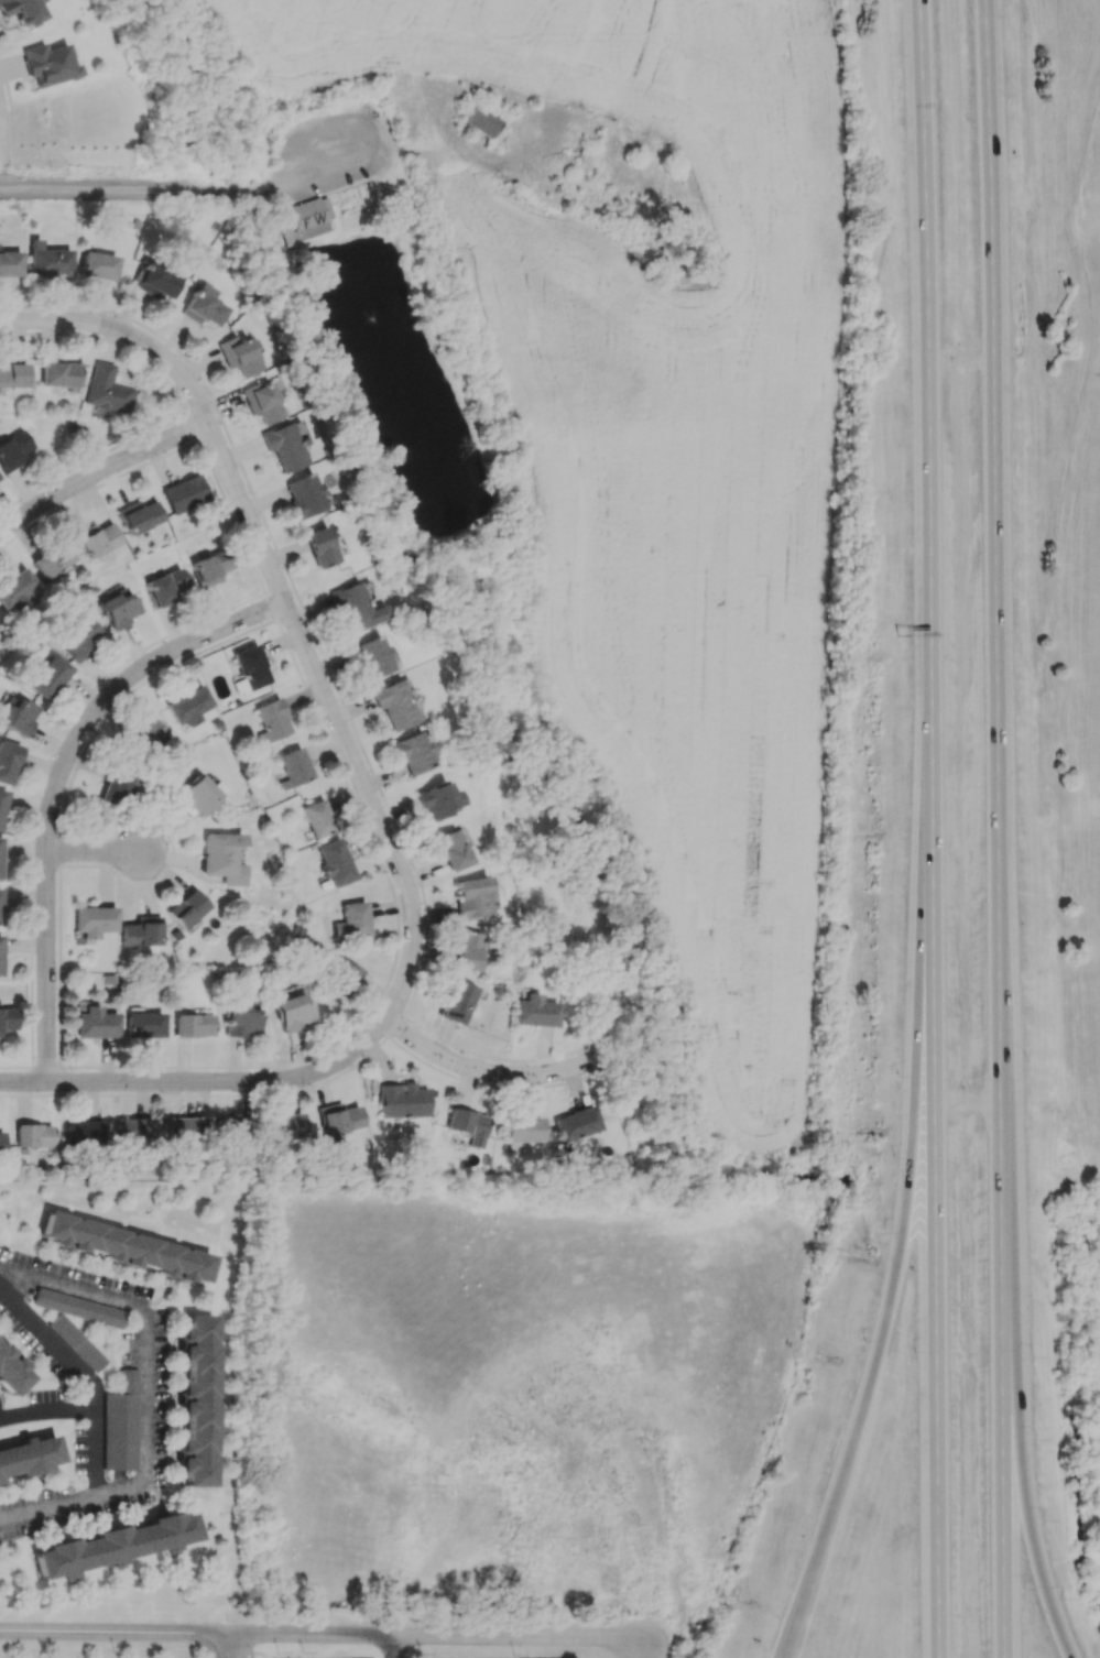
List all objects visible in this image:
building: (21, 10)
building: (48, 64)
building: (481, 118)
road: (199, 199)
building: (303, 220)
building: (47, 260)
building: (10, 264)
building: (97, 265)
building: (155, 281)
building: (203, 306)
road: (39, 324)
building: (238, 354)
road: (960, 358)
building: (59, 373)
building: (13, 375)
building: (107, 391)
building: (262, 402)
building: (284, 446)
building: (13, 450)
road: (101, 476)
building: (185, 493)
building: (305, 495)
building: (139, 515)
road: (929, 521)
building: (96, 538)
building: (320, 547)
building: (53, 559)
building: (209, 568)
building: (165, 587)
building: (17, 590)
building: (118, 608)
building: (356, 608)
building: (0, 614)
building: (79, 639)
road: (303, 640)
building: (374, 655)
building: (250, 667)
building: (48, 677)
building: (394, 703)
building: (189, 706)
building: (18, 716)
building: (271, 720)
building: (148, 733)
building: (414, 752)
building: (8, 760)
building: (293, 767)
road: (57, 782)
building: (116, 788)
building: (196, 796)
building: (438, 799)
building: (2, 806)
building: (317, 818)
road: (1000, 828)
building: (450, 850)
road: (95, 854)
building: (221, 857)
building: (0, 859)
building: (335, 862)
building: (472, 897)
building: (0, 906)
building: (187, 908)
building: (355, 919)
building: (95, 920)
building: (142, 931)
building: (466, 951)
building: (1, 955)
building: (340, 979)
building: (456, 1002)
building: (535, 1010)
building: (292, 1012)
building: (7, 1018)
building: (240, 1018)
building: (95, 1022)
building: (143, 1023)
building: (193, 1023)
road: (479, 1071)
road: (204, 1081)
building: (402, 1100)
road: (966, 1104)
building: (339, 1119)
building: (235, 1120)
building: (577, 1123)
building: (183, 1125)
building: (468, 1125)
building: (286, 1126)
building: (524, 1128)
building: (134, 1130)
building: (83, 1132)
building: (33, 1135)
building: (0, 1143)
building: (124, 1246)
building: (77, 1308)
building: (76, 1342)
road: (149, 1348)
road: (937, 1350)
road: (874, 1355)
building: (11, 1373)
building: (195, 1404)
road: (47, 1411)
road: (97, 1422)
building: (120, 1424)
building: (28, 1457)
road: (1023, 1473)
building: (609, 1536)
building: (113, 1545)
building: (640, 1568)
road: (322, 1634)
road: (242, 1644)
road: (203, 1645)
road: (221, 1645)
road: (233, 1645)
road: (401, 1646)
road: (260, 1655)

